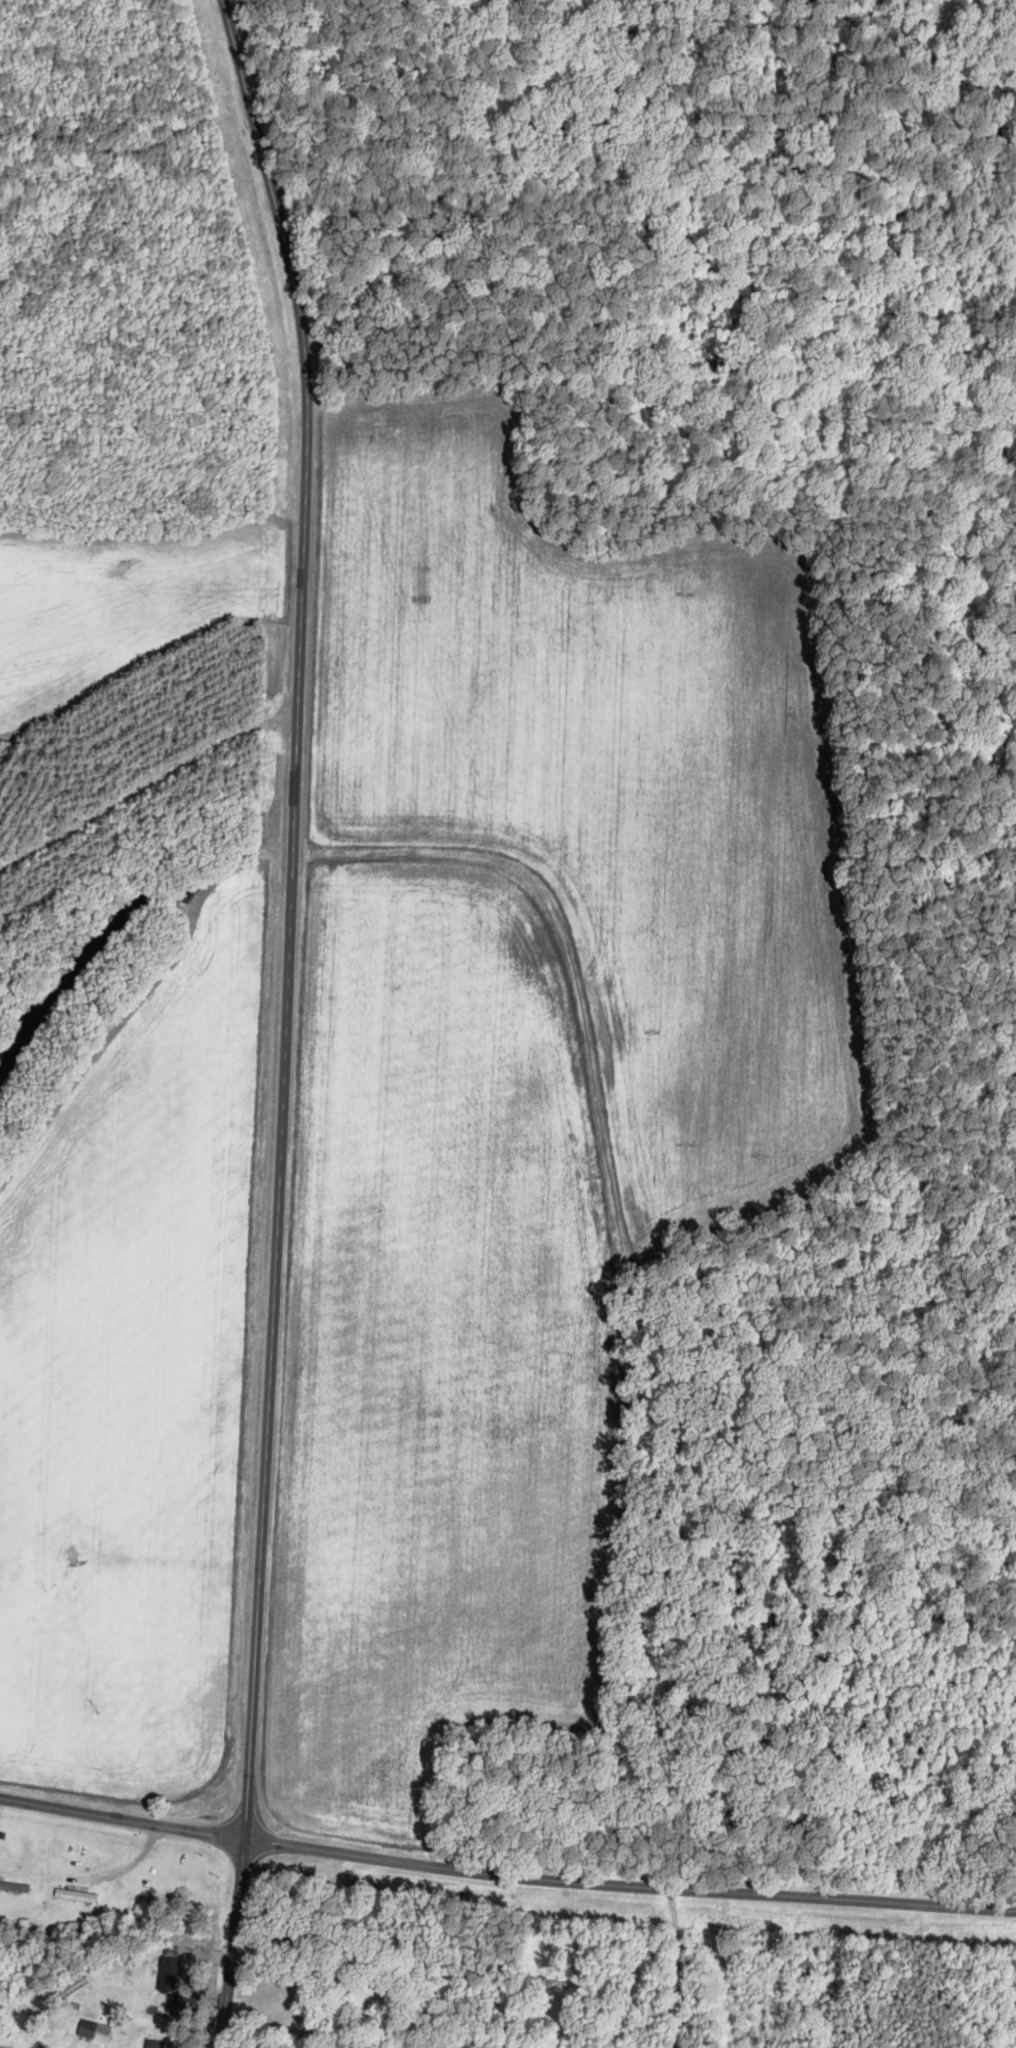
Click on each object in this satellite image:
road: (145, 782)
road: (296, 1021)
road: (504, 1888)
road: (680, 1972)
building: (169, 1973)
building: (95, 2031)
building: (154, 2044)

